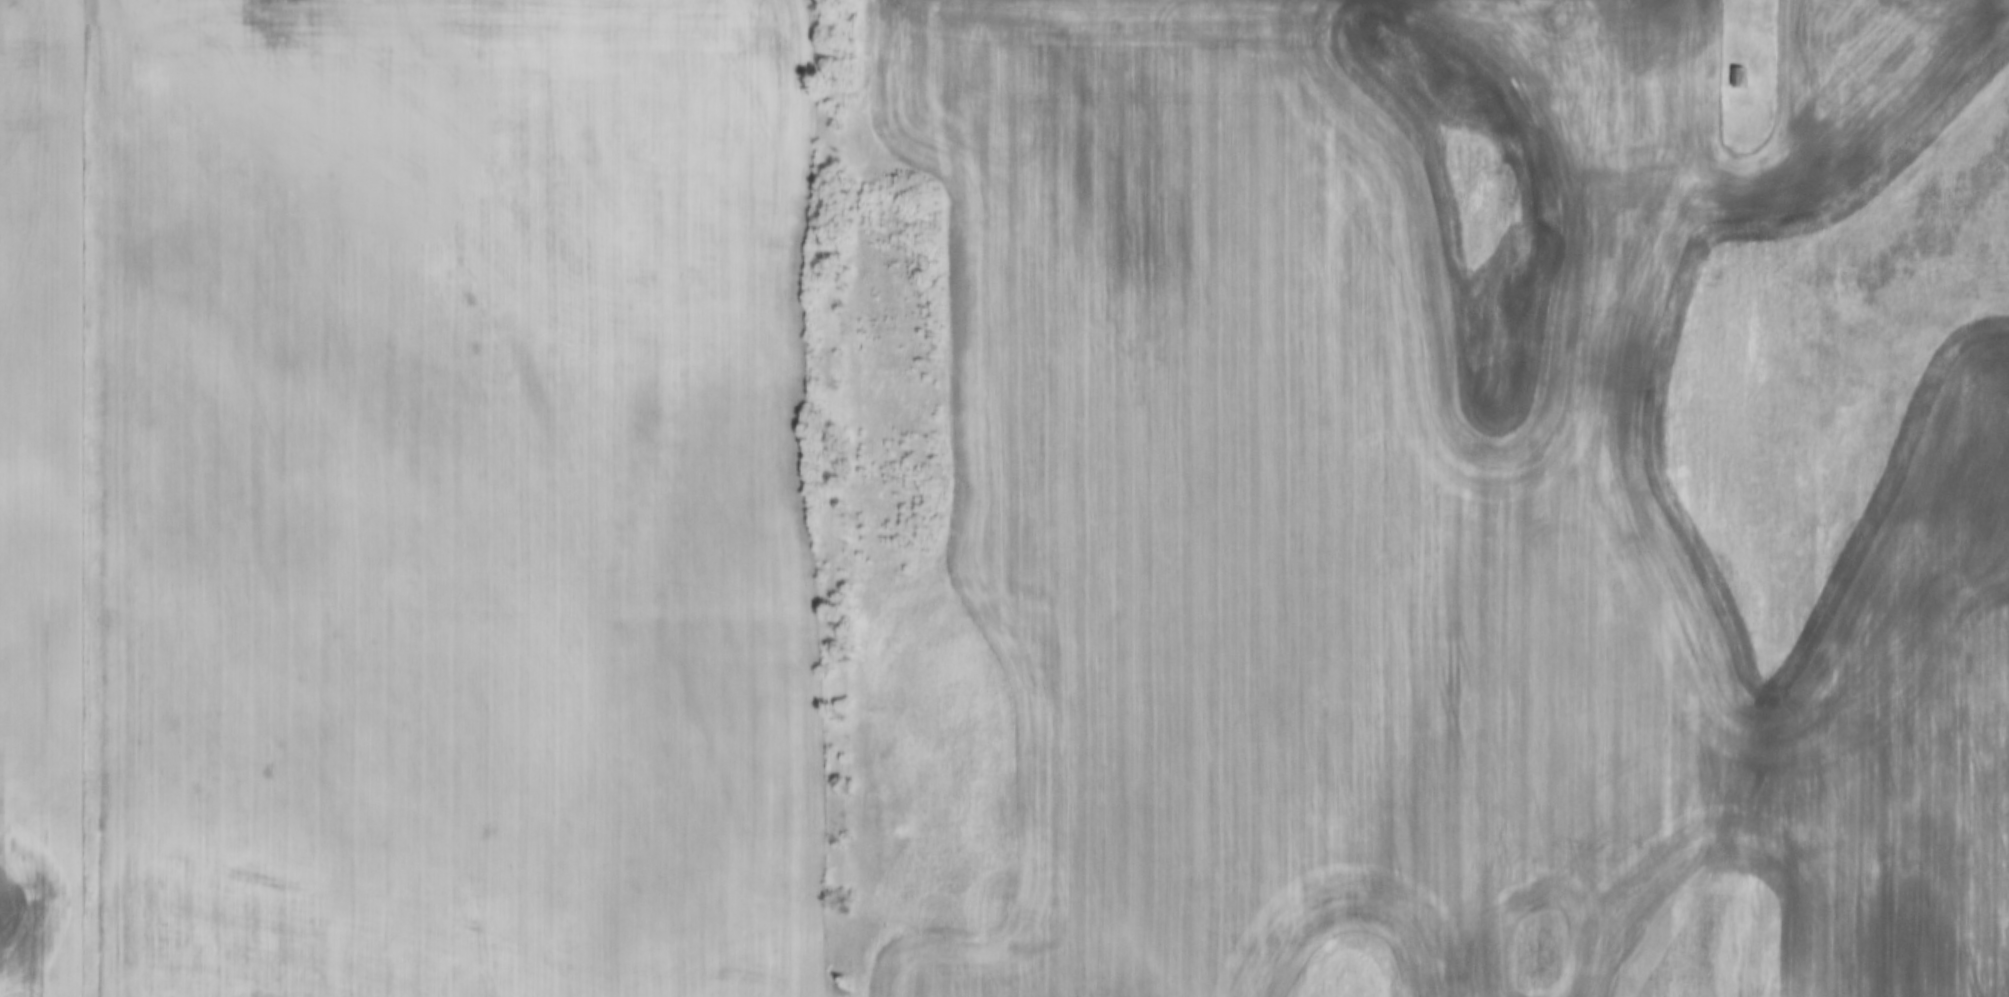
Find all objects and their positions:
building: (1744, 74)

